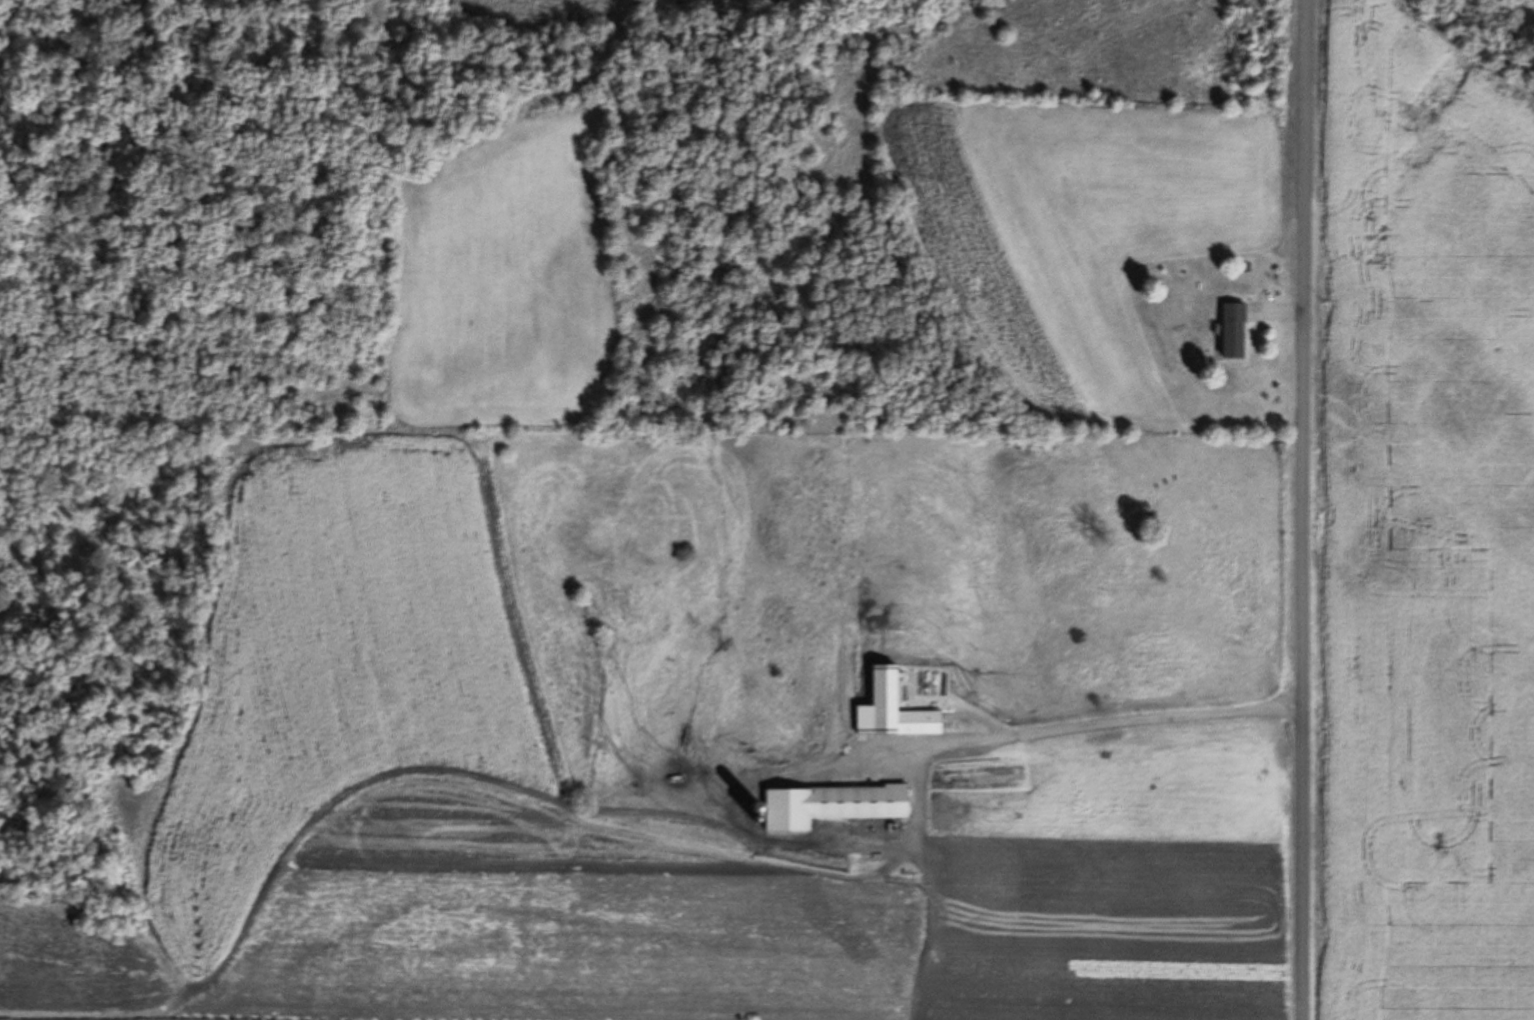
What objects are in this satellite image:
building: (1237, 328)
road: (1306, 509)

